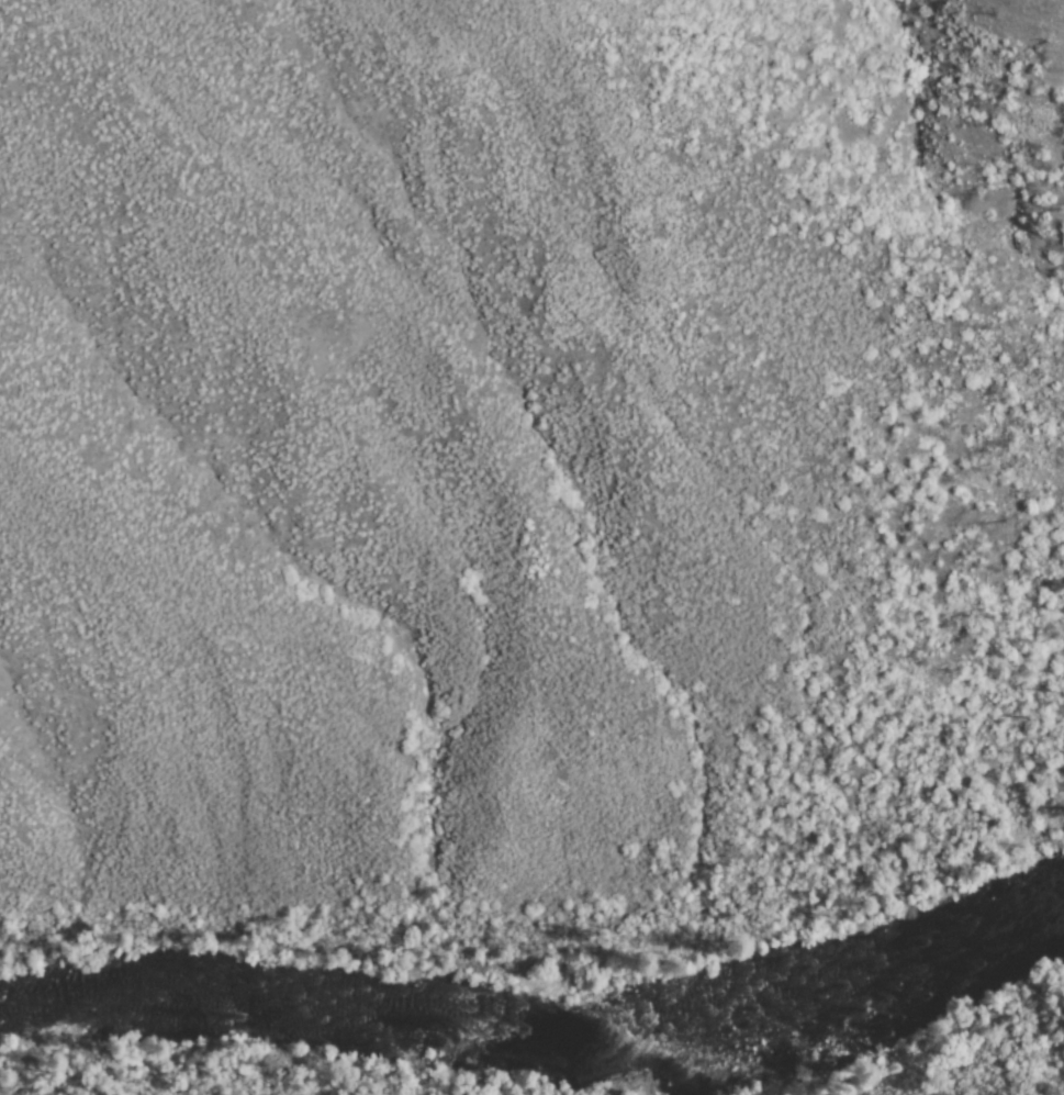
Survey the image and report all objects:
river: (545, 1033)

